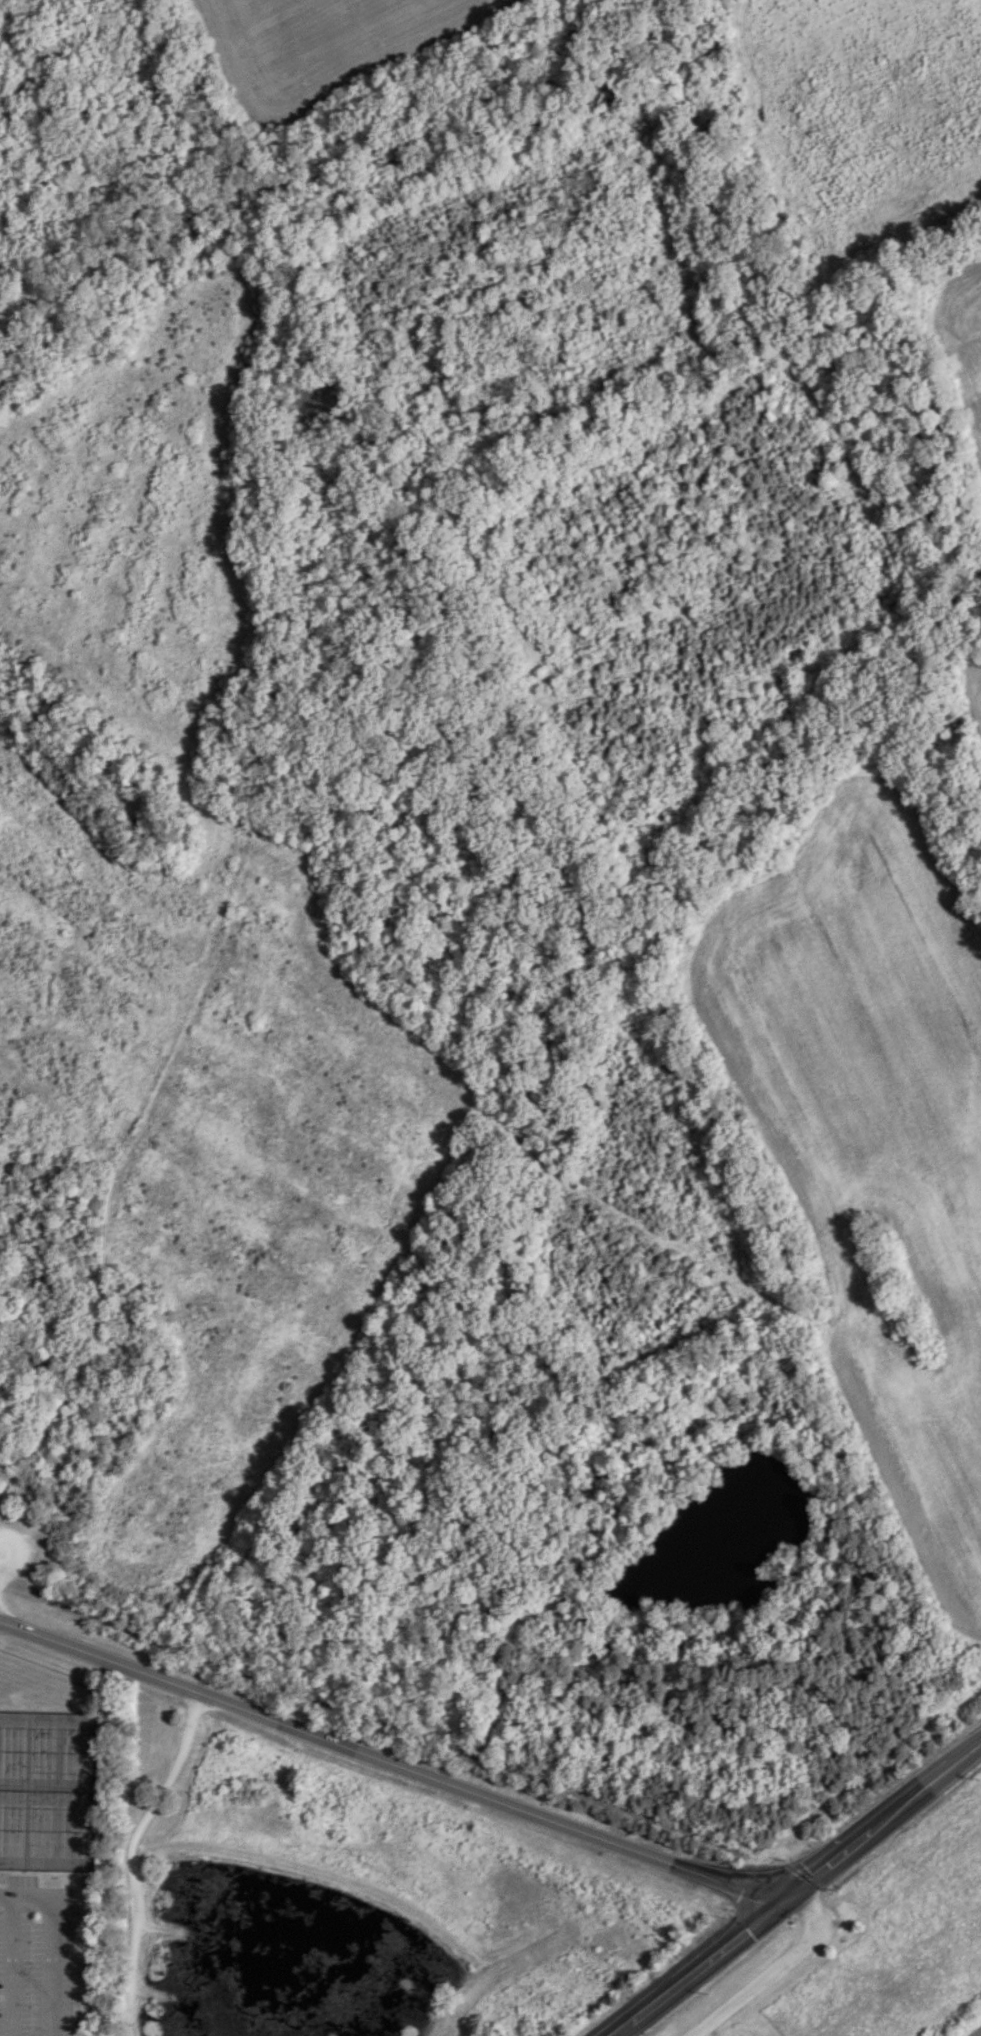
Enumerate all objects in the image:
road: (99, 1339)
parking lot: (17, 1551)
road: (2, 1558)
road: (421, 1736)
road: (966, 1752)
road: (390, 1762)
park: (46, 1789)
road: (910, 1796)
road: (131, 1856)
road: (825, 1862)
dam: (313, 1881)
road: (4, 1897)
traffic signals: (782, 1898)
road: (797, 1900)
road: (49, 1947)
road: (706, 1961)
road: (9, 1967)
road: (763, 1977)
parking lot: (27, 2021)
road: (620, 2029)
road: (975, 2032)

